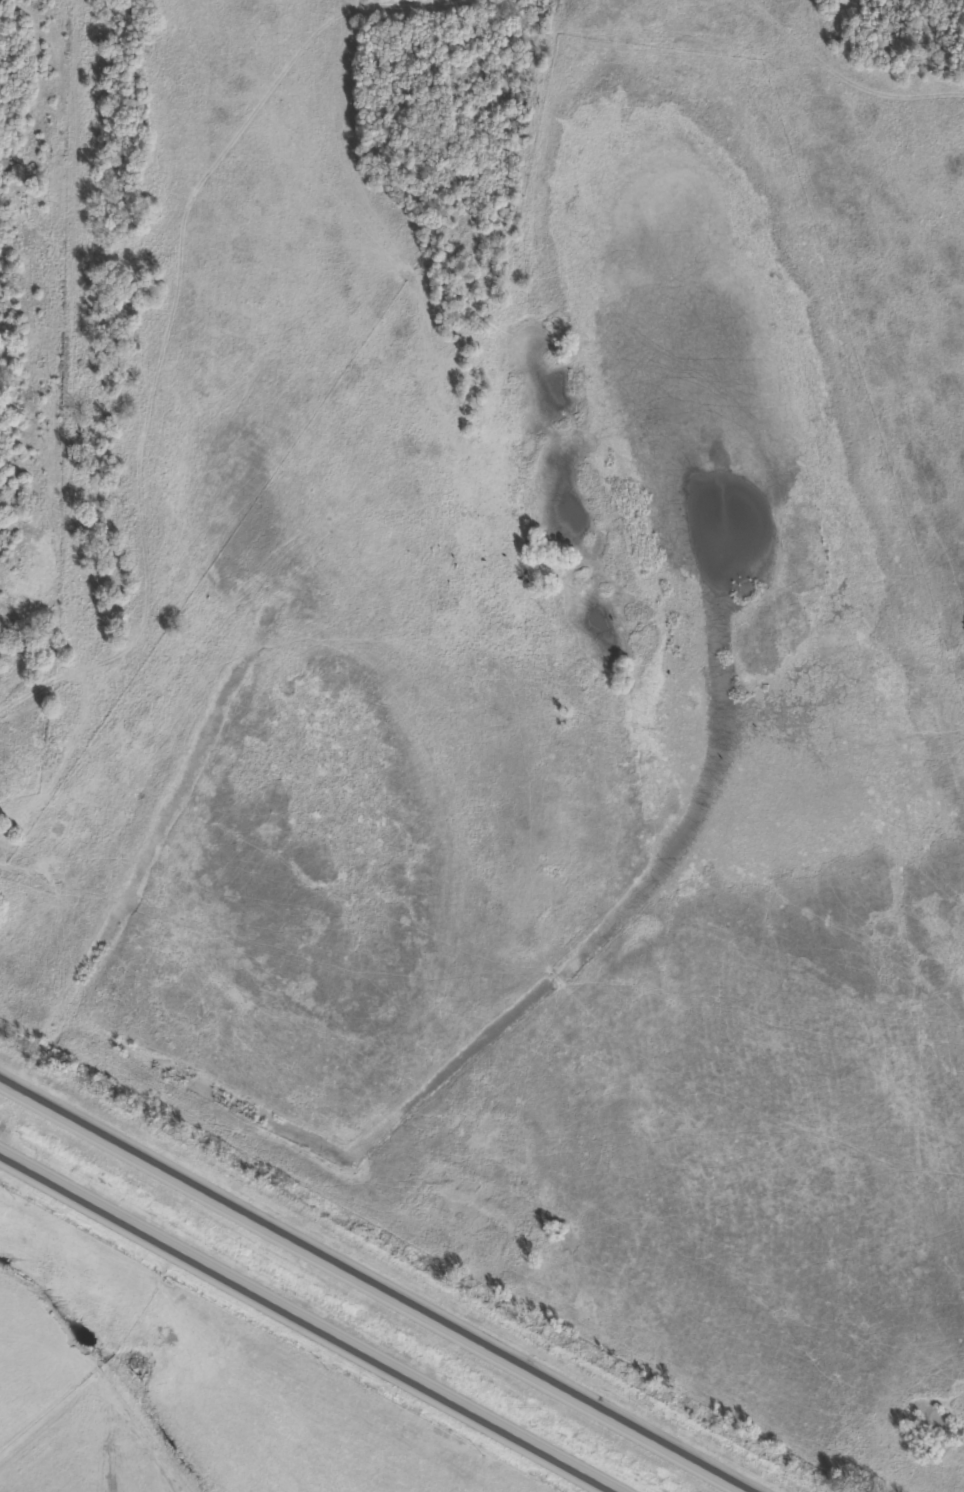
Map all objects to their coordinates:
road: (373, 1286)
road: (306, 1323)

